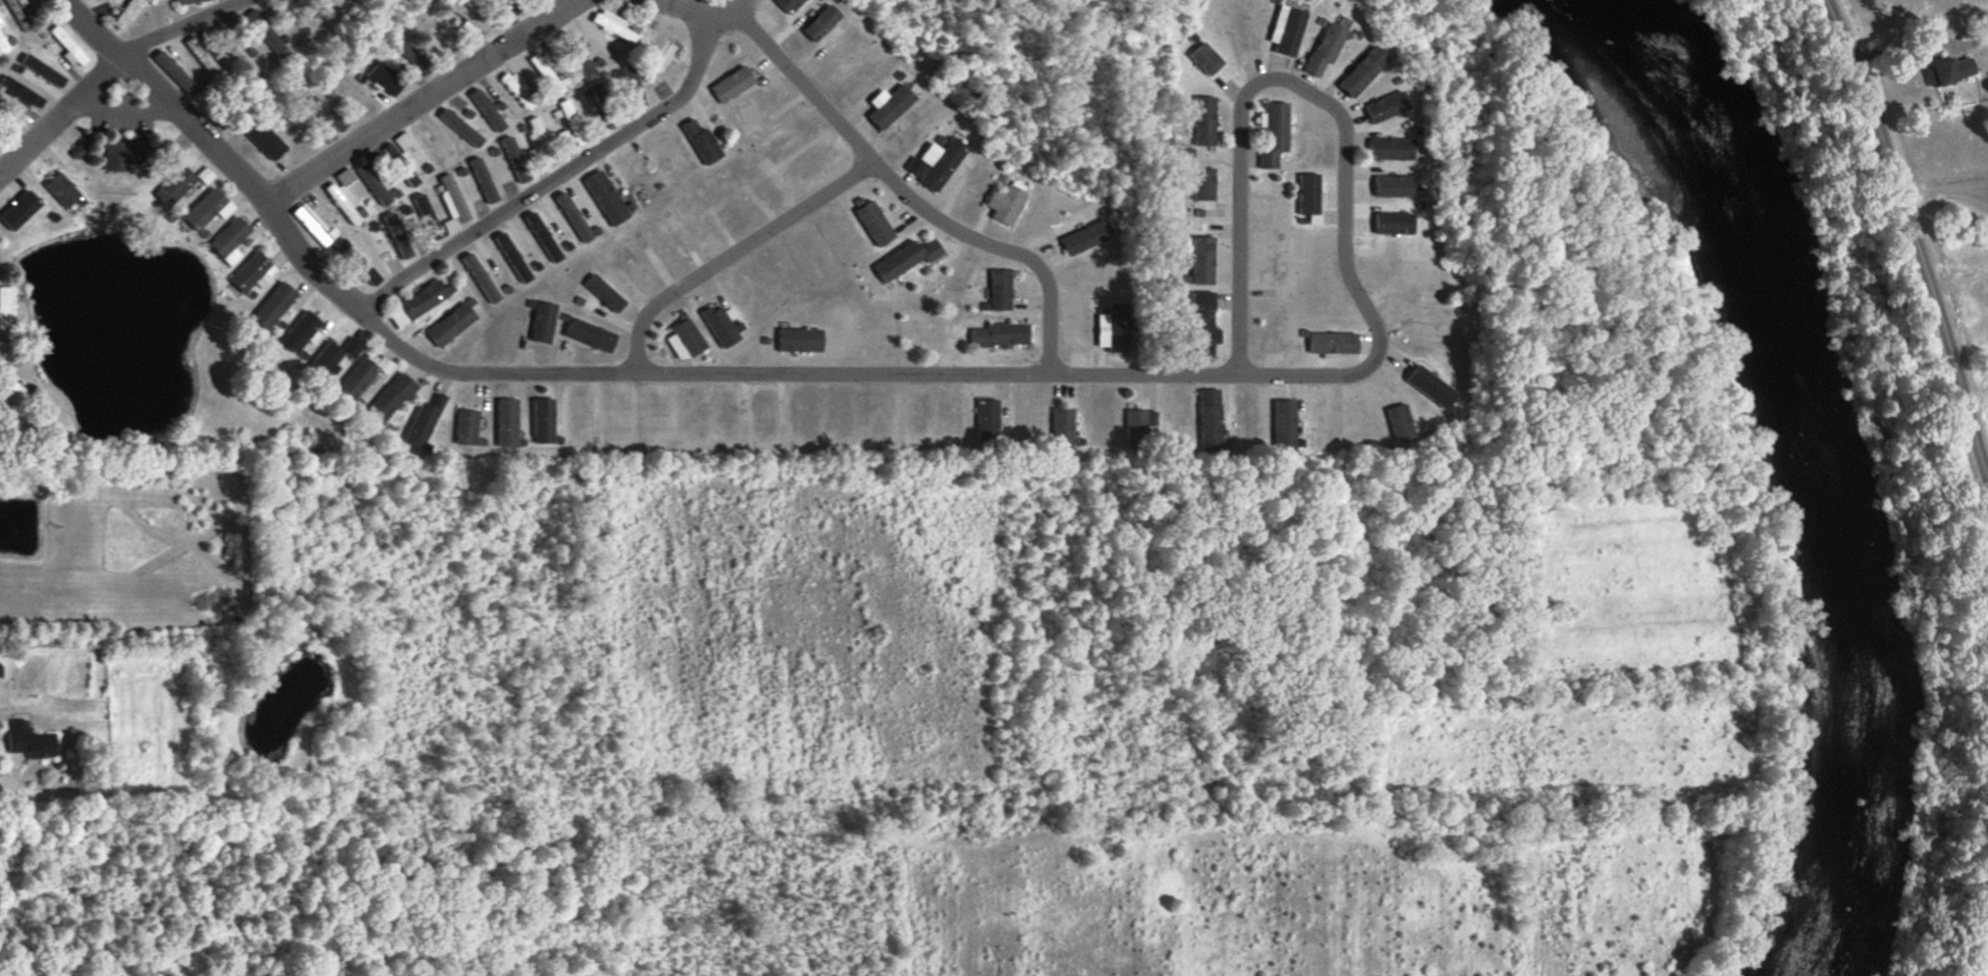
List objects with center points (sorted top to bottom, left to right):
building: (186, 1)
road: (734, 4)
building: (787, 4)
building: (19, 12)
building: (464, 12)
building: (124, 13)
building: (300, 16)
building: (820, 22)
building: (0, 23)
building: (612, 24)
building: (1284, 29)
building: (264, 32)
building: (228, 42)
building: (67, 44)
building: (2, 45)
building: (1323, 47)
road: (1901, 47)
building: (410, 54)
building: (200, 56)
building: (1203, 58)
building: (581, 62)
road: (107, 64)
building: (1950, 69)
building: (42, 70)
building: (1361, 71)
building: (173, 72)
building: (545, 73)
building: (386, 78)
road: (1293, 82)
building: (513, 83)
building: (731, 84)
building: (632, 85)
building: (22, 92)
road: (418, 101)
building: (888, 105)
building: (1384, 106)
building: (487, 109)
building: (323, 111)
building: (570, 118)
building: (1202, 120)
building: (460, 127)
building: (1271, 132)
building: (564, 136)
building: (263, 139)
building: (538, 140)
building: (700, 141)
building: (1393, 148)
building: (398, 150)
building: (122, 152)
building: (514, 159)
building: (935, 162)
road: (564, 172)
building: (409, 176)
building: (344, 177)
building: (483, 179)
road: (891, 179)
building: (372, 183)
building: (1201, 183)
building: (173, 185)
building: (1392, 185)
building: (61, 189)
building: (1306, 193)
building: (605, 197)
building: (340, 200)
building: (1004, 202)
building: (452, 205)
building: (206, 208)
building: (19, 209)
building: (426, 216)
building: (874, 222)
building: (1392, 222)
building: (310, 223)
building: (396, 234)
building: (1085, 236)
road: (1912, 237)
building: (229, 239)
road: (734, 250)
building: (512, 256)
building: (906, 258)
building: (1201, 259)
building: (365, 270)
building: (252, 272)
building: (480, 277)
building: (1000, 289)
building: (605, 292)
building: (422, 299)
building: (6, 305)
building: (273, 305)
building: (543, 321)
building: (451, 323)
building: (720, 323)
building: (1202, 324)
building: (1114, 327)
building: (299, 330)
building: (589, 334)
building: (1000, 334)
building: (685, 338)
building: (798, 339)
building: (1331, 342)
building: (351, 346)
building: (326, 358)
road: (630, 368)
building: (360, 376)
building: (11, 384)
building: (1429, 386)
building: (390, 397)
building: (987, 419)
building: (1209, 419)
building: (543, 420)
building: (1398, 421)
building: (423, 422)
building: (507, 422)
building: (1138, 424)
building: (1283, 424)
building: (466, 426)
building: (1062, 426)
river: (1784, 463)
building: (29, 740)

